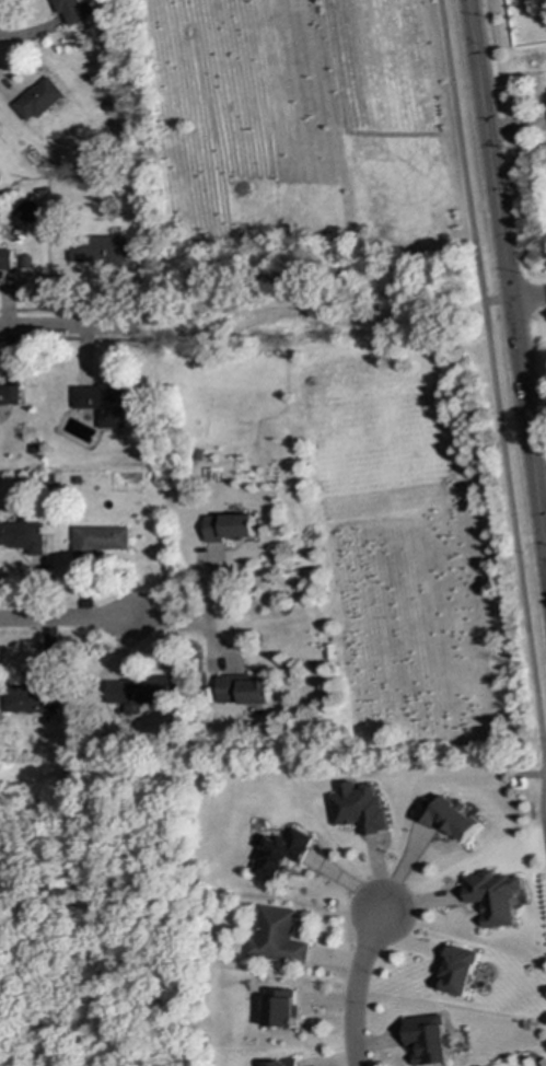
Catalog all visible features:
building: (69, 11)
building: (37, 100)
building: (93, 250)
building: (4, 259)
road: (507, 276)
road: (528, 297)
road: (497, 301)
road: (66, 328)
building: (9, 395)
building: (100, 403)
road: (499, 428)
building: (226, 526)
road: (545, 535)
building: (23, 536)
building: (97, 541)
road: (62, 619)
road: (183, 626)
building: (242, 690)
building: (135, 694)
building: (33, 702)
road: (544, 779)
building: (360, 808)
building: (450, 818)
building: (280, 854)
building: (495, 897)
building: (277, 937)
building: (458, 970)
road: (350, 983)
building: (280, 1008)
building: (428, 1040)
building: (283, 1063)

